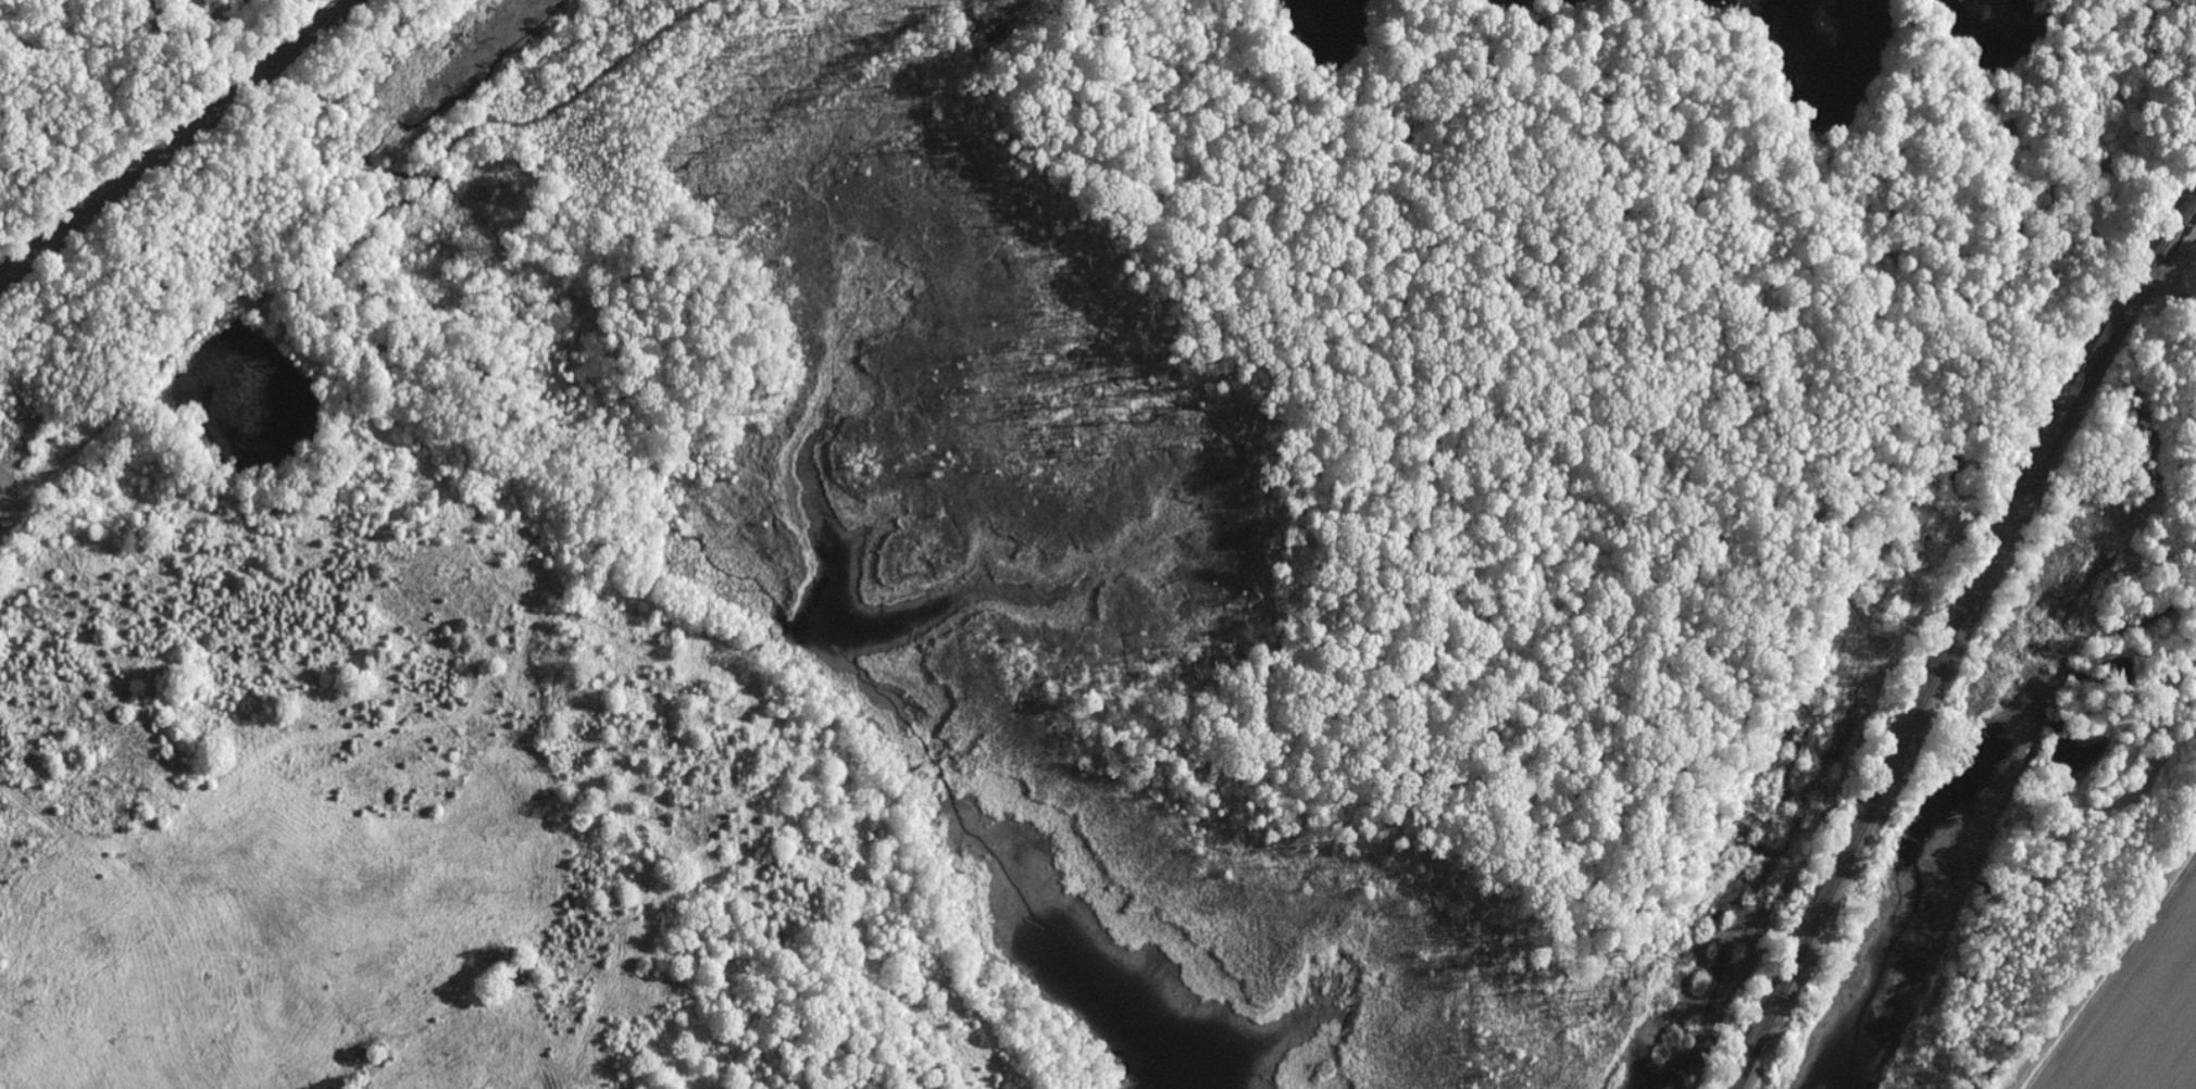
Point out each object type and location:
road: (174, 138)
railway: (2186, 208)
railway: (1947, 648)
road: (2103, 957)

